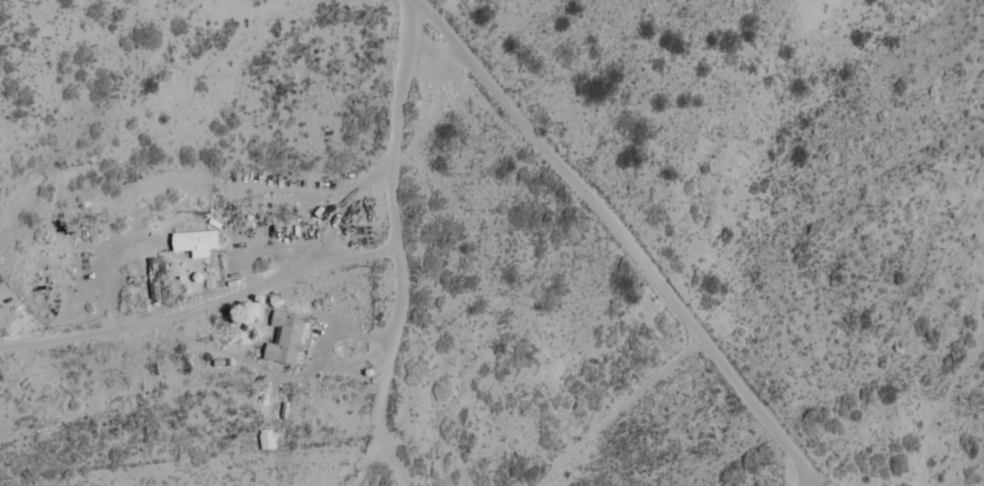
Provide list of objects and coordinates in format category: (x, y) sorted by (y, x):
road: (472, 13)
road: (673, 240)
building: (196, 242)
building: (153, 280)
building: (286, 340)
building: (267, 441)

